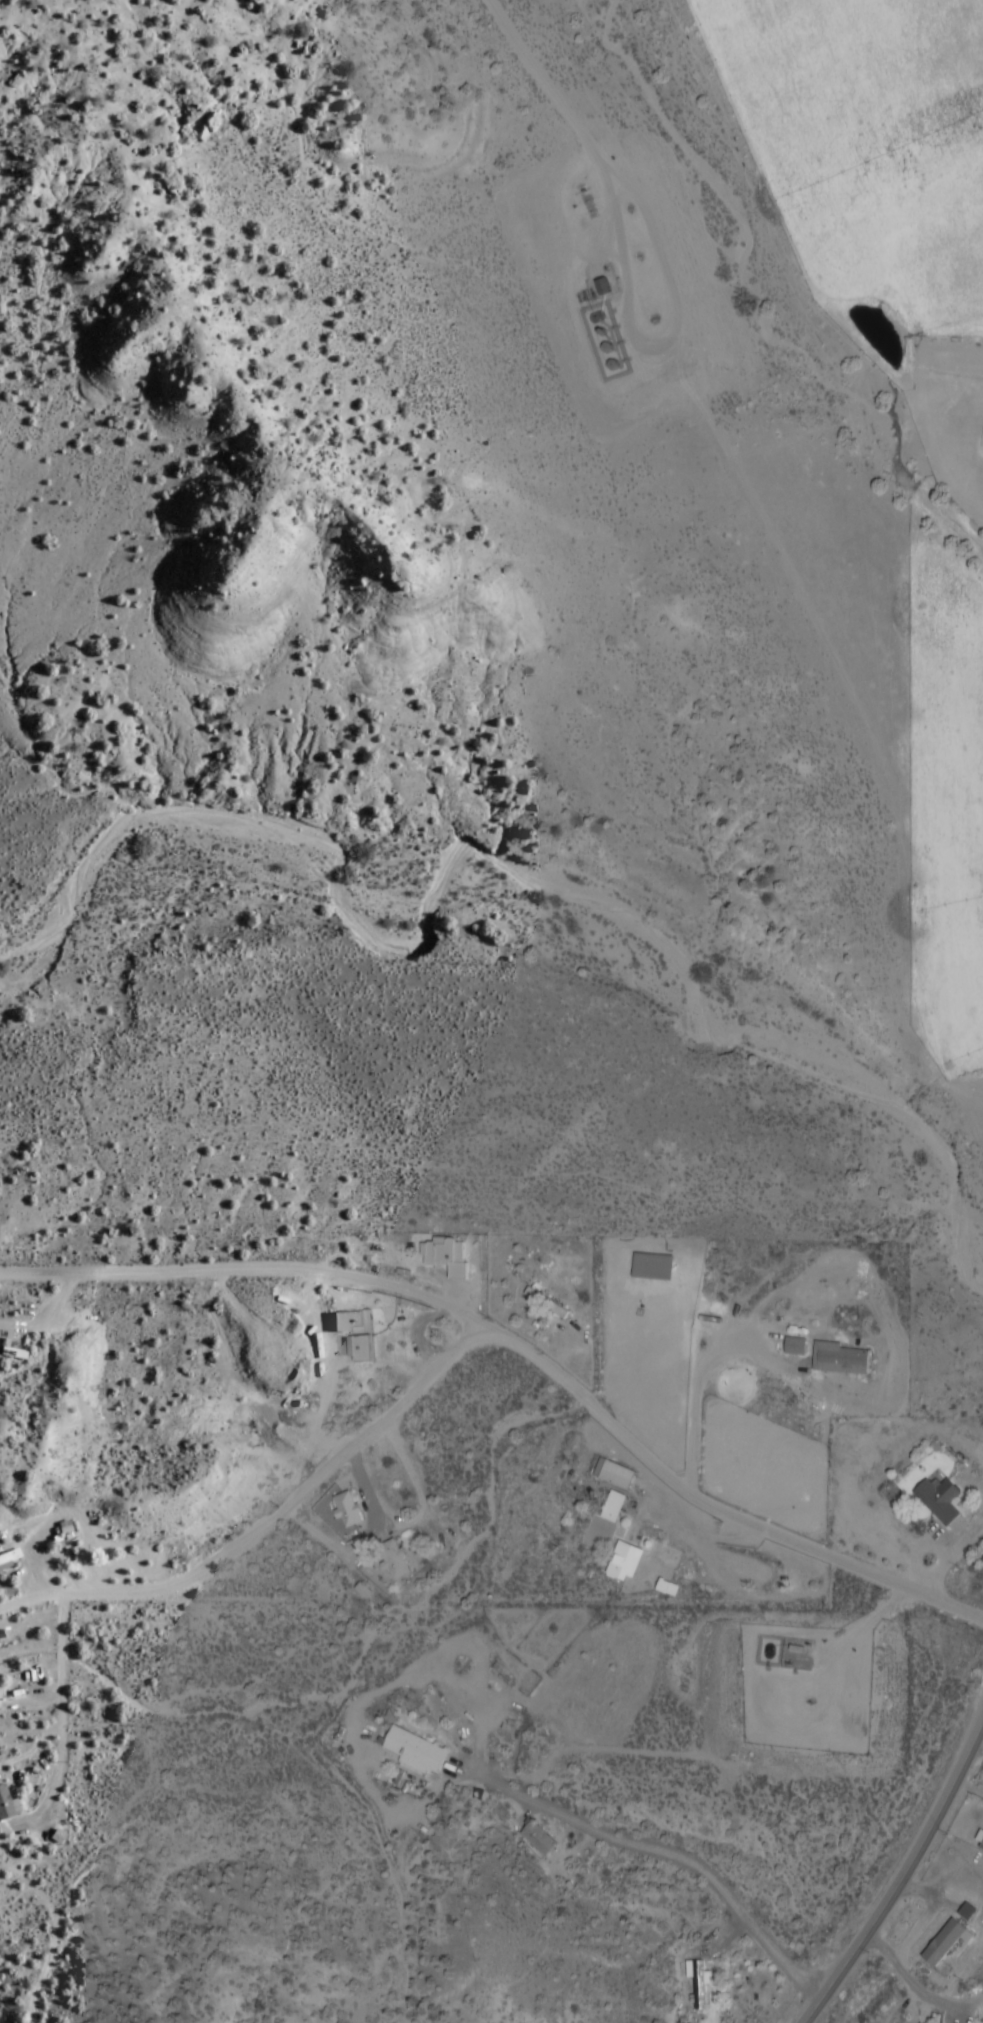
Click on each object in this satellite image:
building: (856, 94)
river: (517, 931)
building: (448, 1256)
road: (249, 1266)
building: (654, 1266)
building: (548, 1302)
building: (7, 1329)
building: (358, 1332)
building: (797, 1347)
building: (842, 1359)
building: (615, 1475)
building: (940, 1500)
road: (714, 1507)
building: (614, 1508)
building: (349, 1510)
road: (267, 1518)
building: (11, 1558)
building: (396, 1560)
building: (624, 1561)
building: (797, 1659)
building: (418, 1752)
building: (6, 1803)
road: (608, 1828)
building: (540, 1838)
road: (903, 1875)
building: (948, 1941)
building: (699, 1982)

